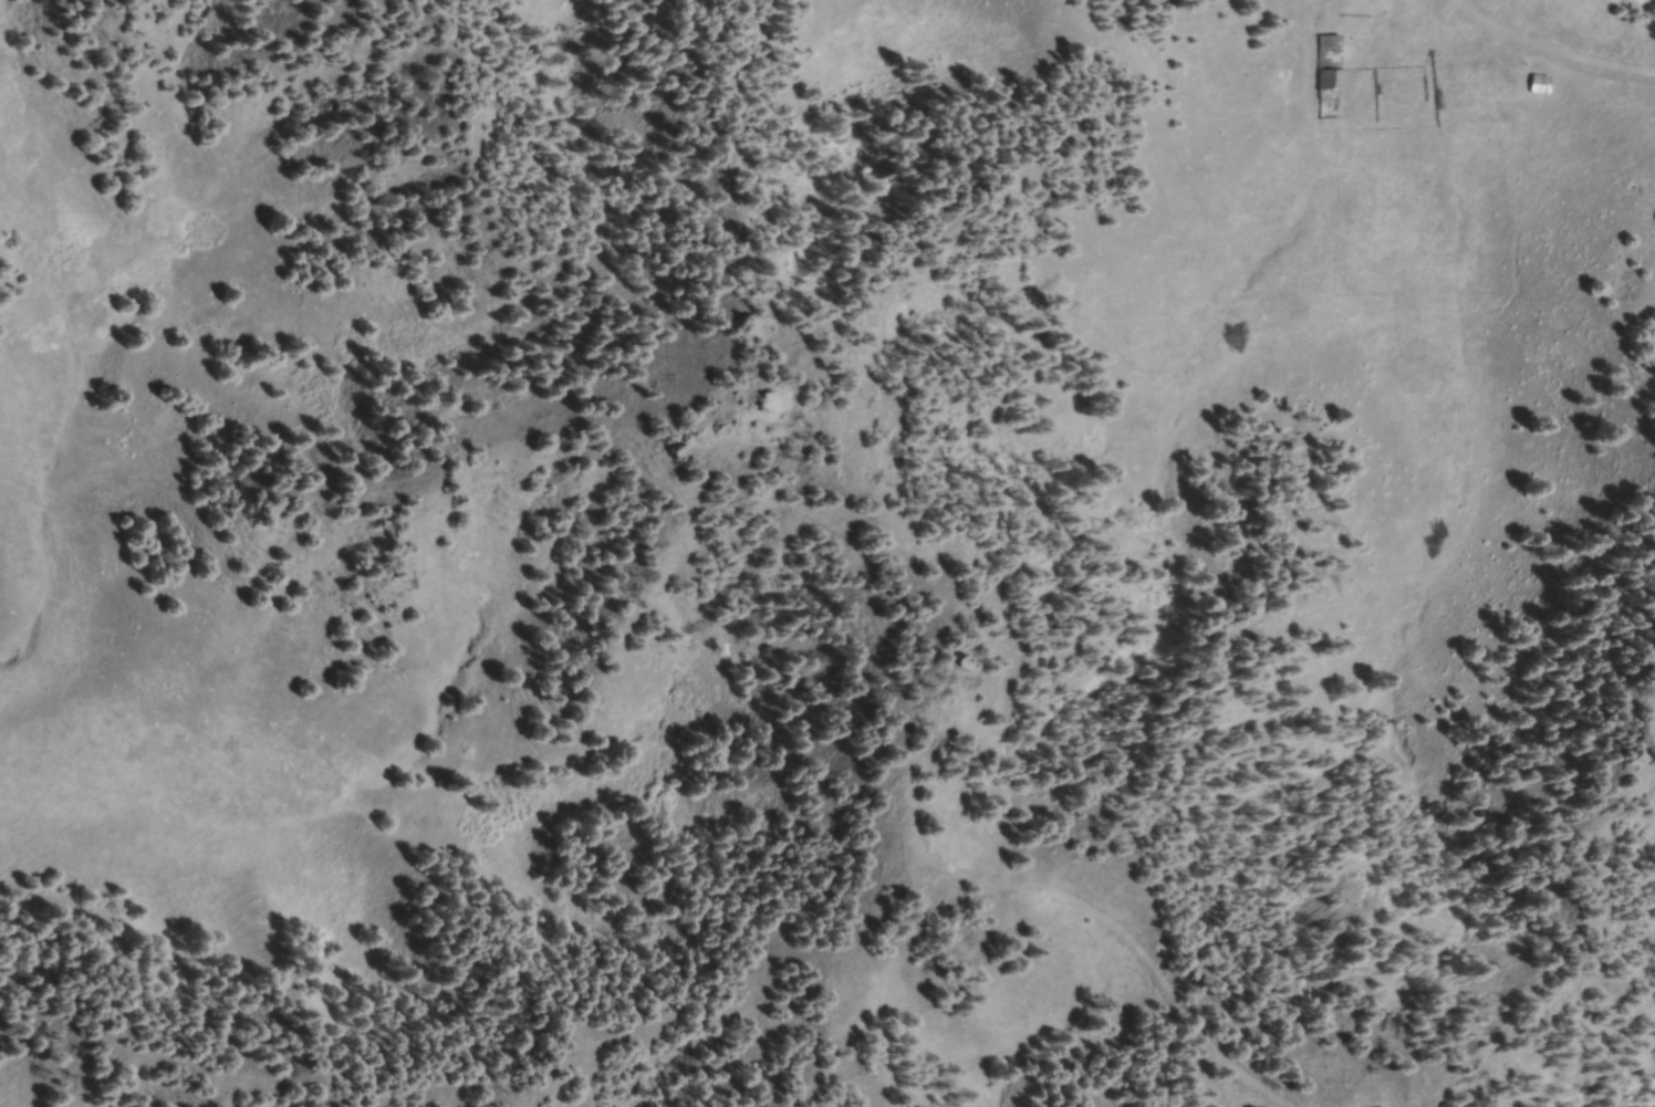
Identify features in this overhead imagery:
building: (1645, 2)
road: (1469, 11)
building: (1331, 62)
building: (1541, 80)

